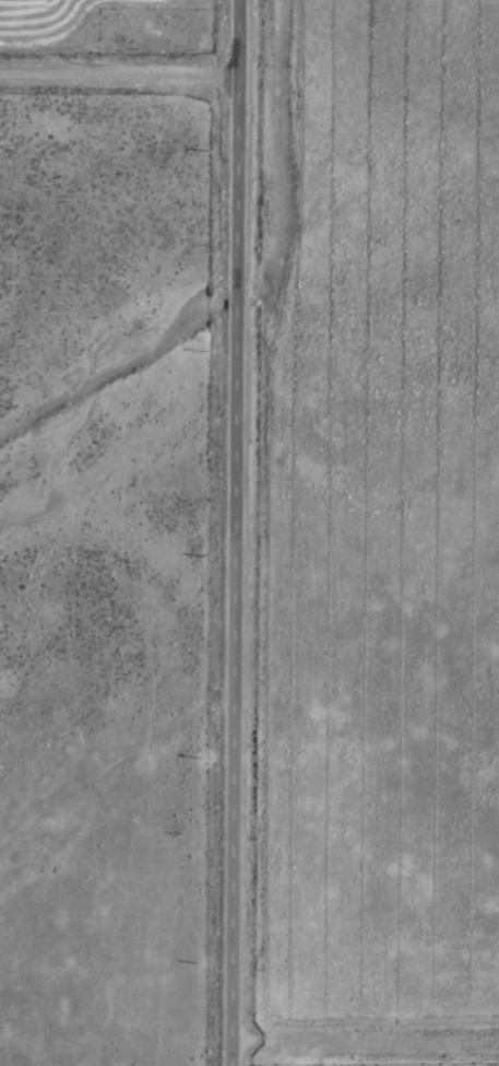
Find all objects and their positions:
road: (116, 75)
road: (228, 532)
crop: (249, 532)
road: (361, 1038)

